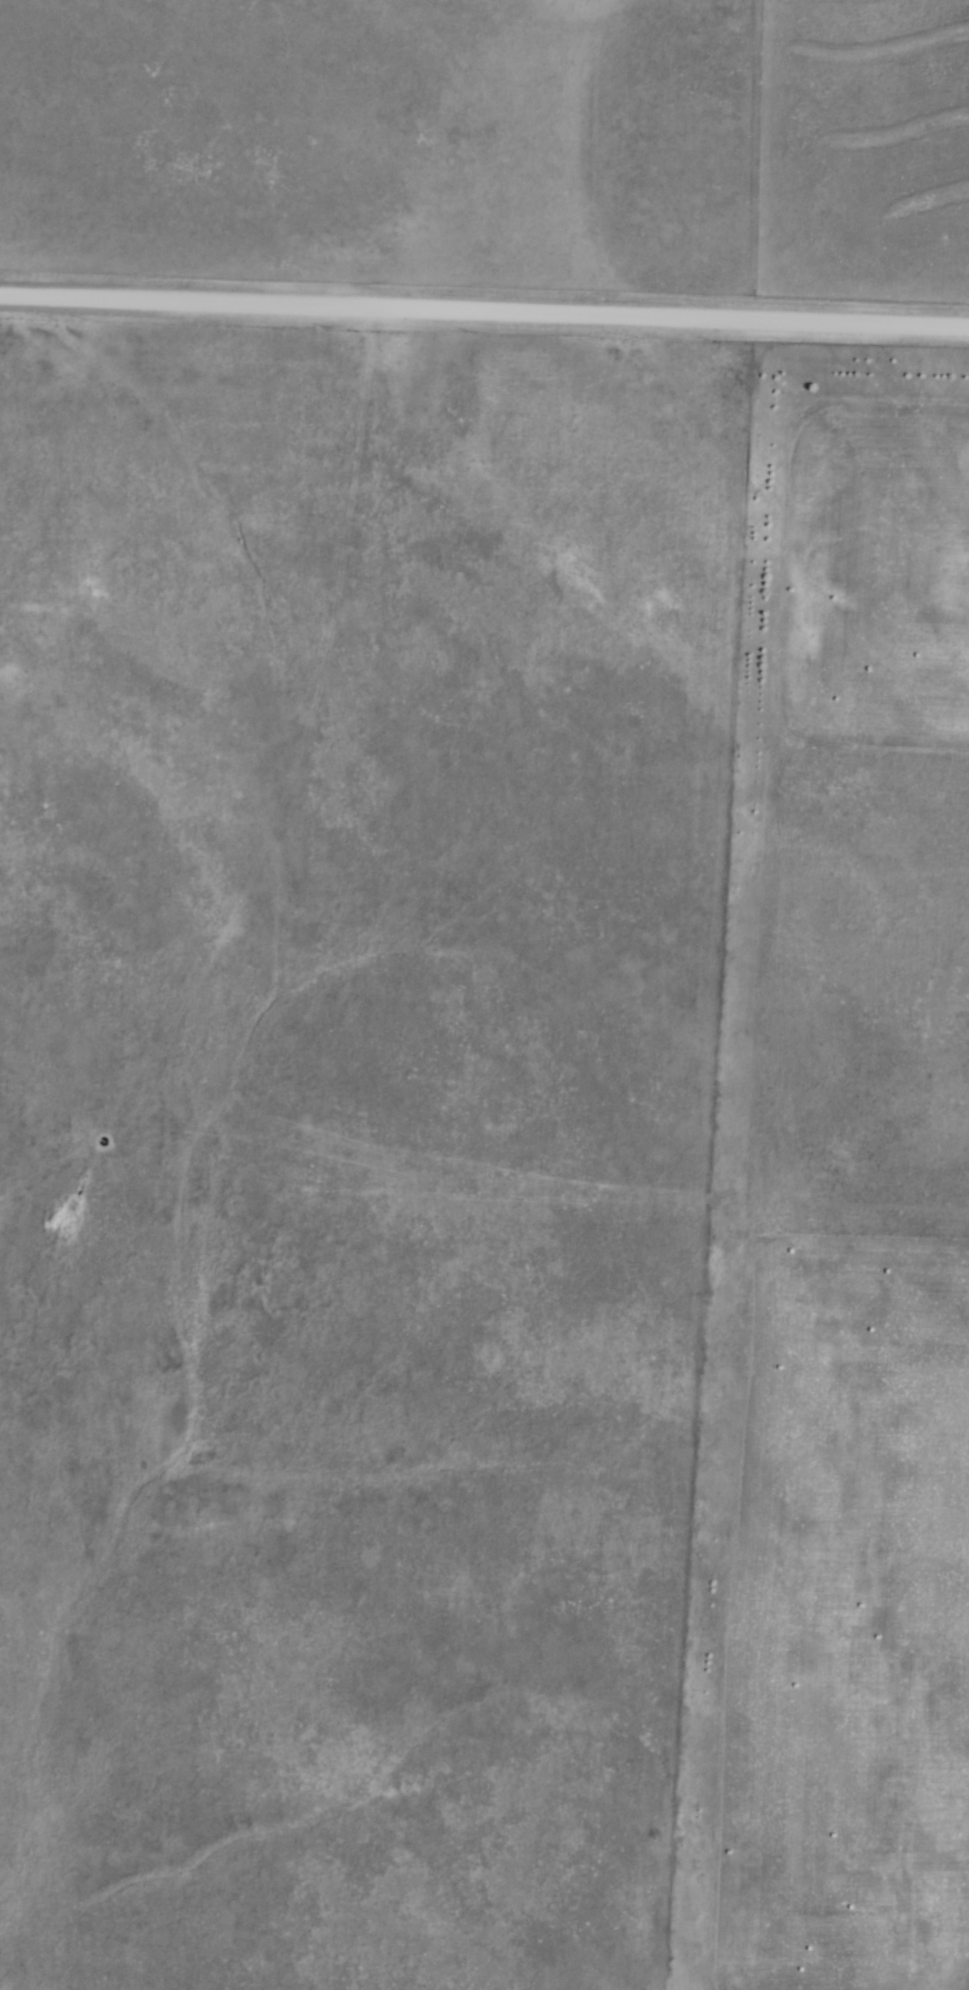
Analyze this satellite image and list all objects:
road: (484, 308)

